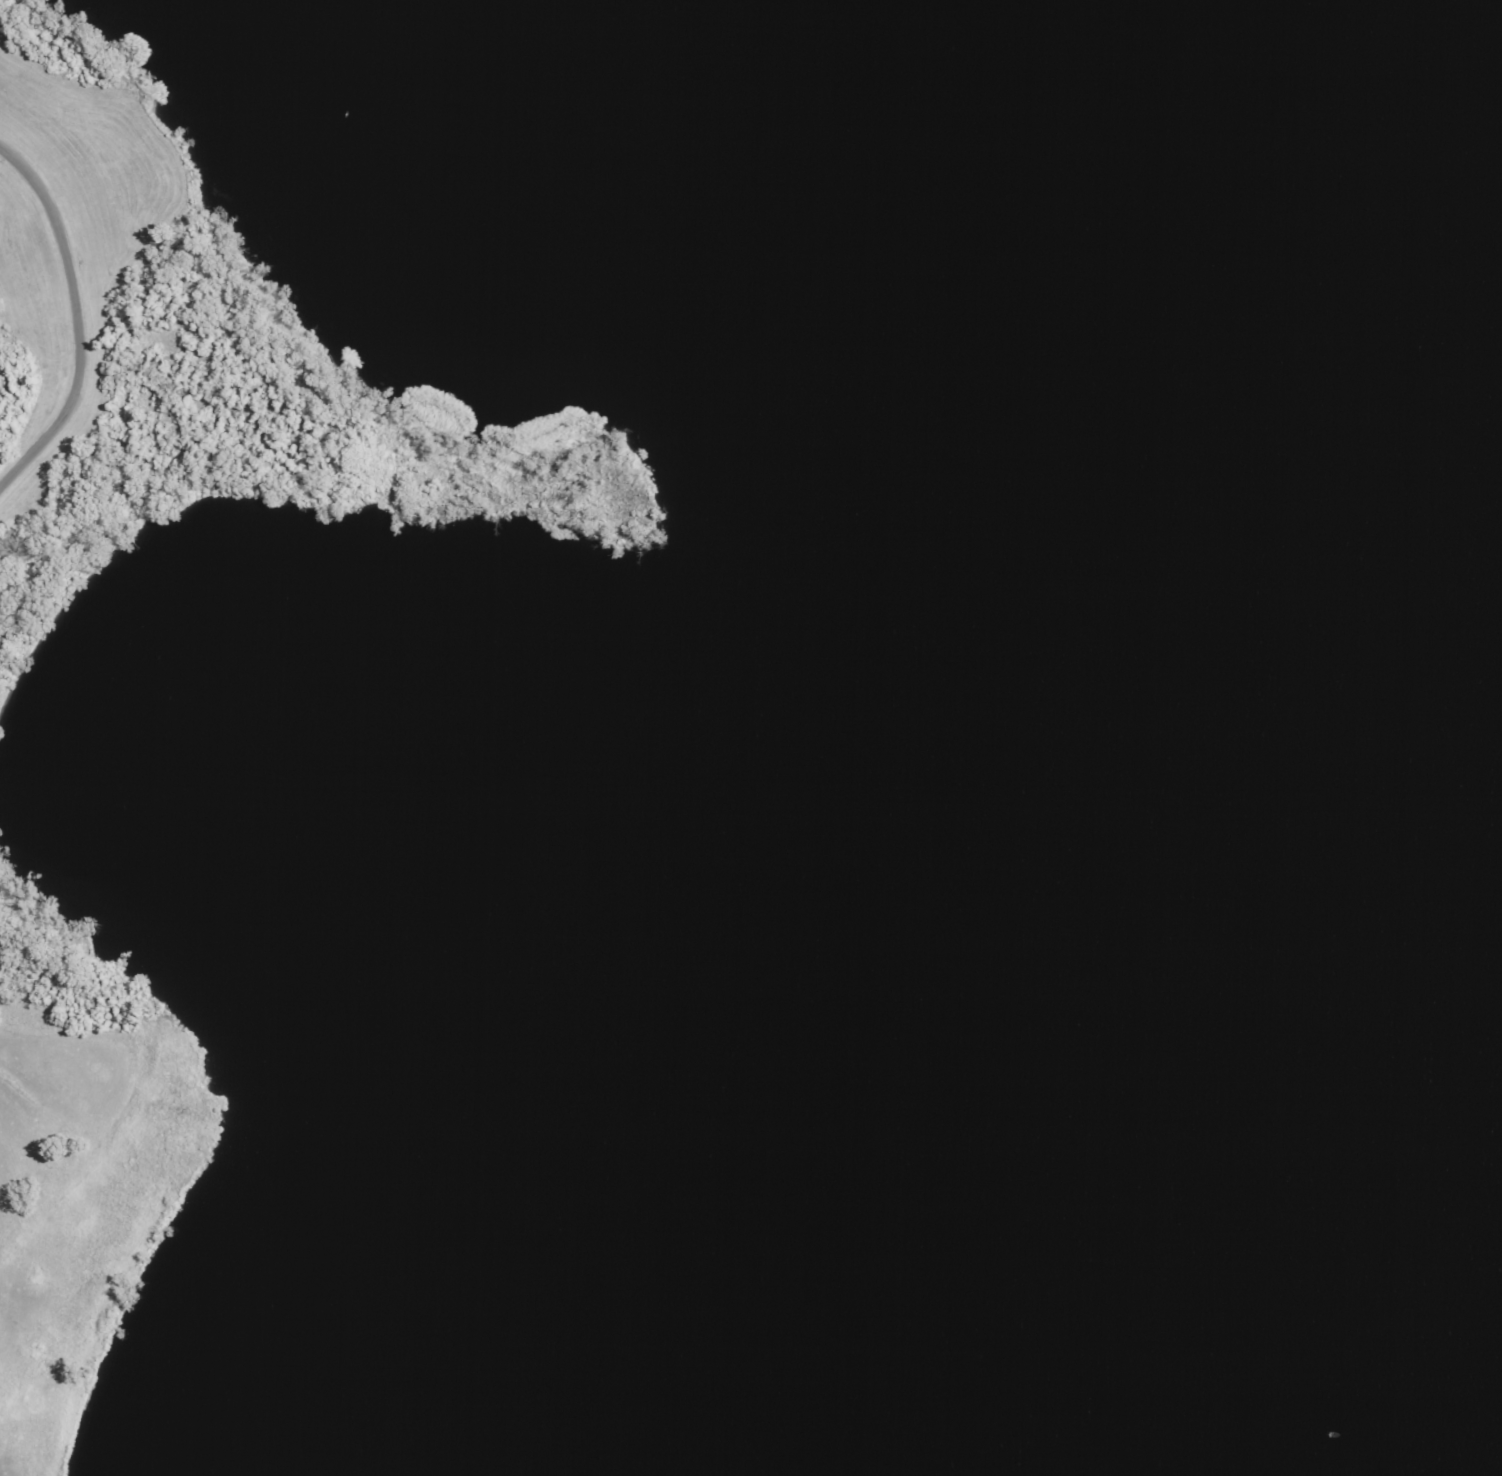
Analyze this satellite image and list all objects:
road: (79, 317)

